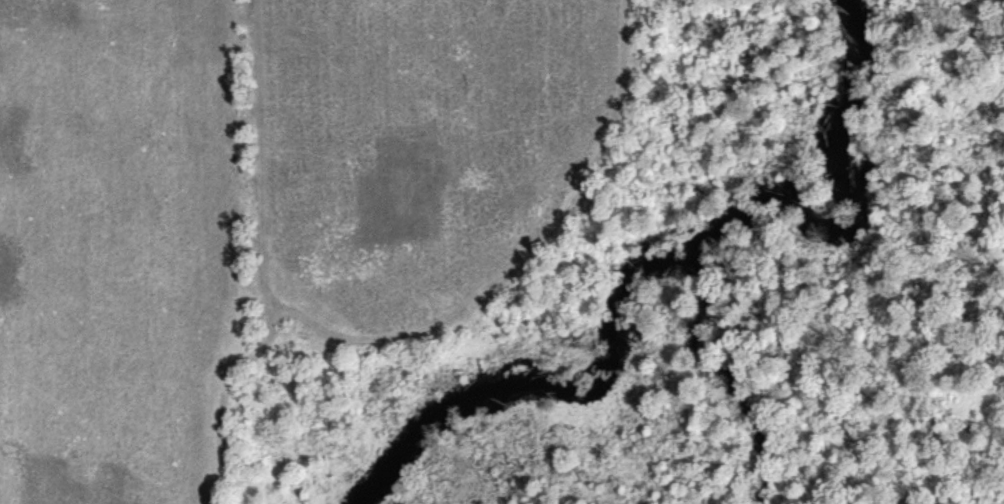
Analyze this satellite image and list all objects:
river: (662, 322)

